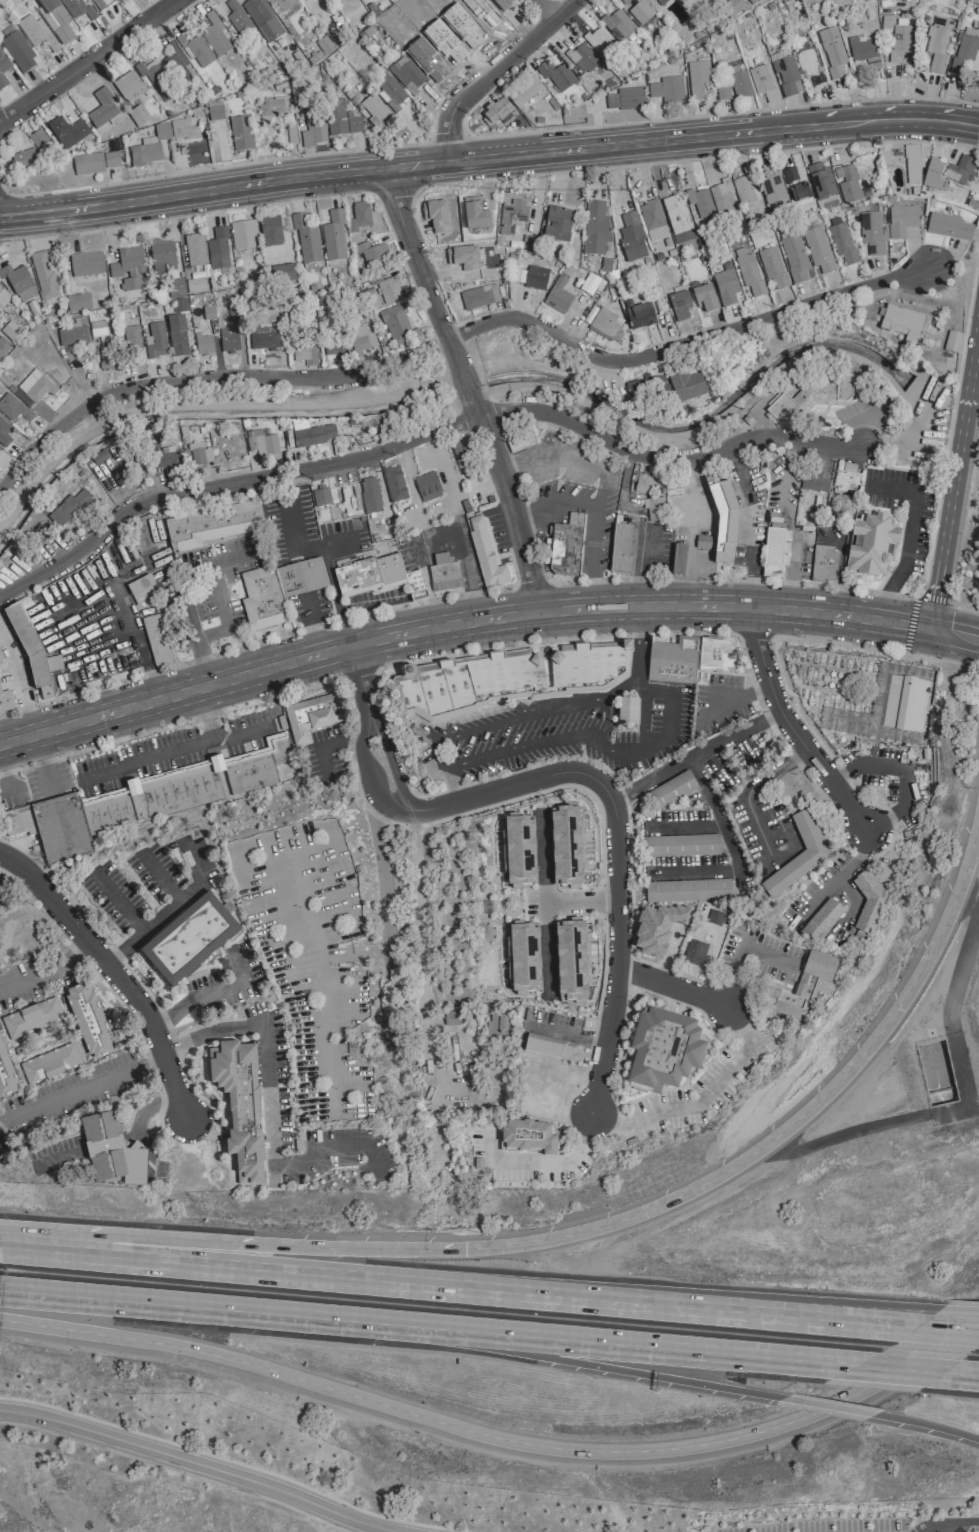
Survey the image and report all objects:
building: (752, 1)
building: (661, 2)
building: (97, 4)
building: (502, 4)
building: (283, 8)
building: (78, 9)
road: (544, 9)
building: (636, 10)
building: (237, 18)
building: (262, 19)
building: (55, 20)
building: (618, 23)
building: (886, 24)
building: (35, 32)
building: (214, 35)
building: (899, 39)
building: (600, 42)
building: (937, 42)
building: (861, 48)
building: (195, 50)
building: (964, 51)
building: (18, 52)
building: (832, 52)
building: (582, 58)
road: (85, 59)
building: (175, 63)
building: (806, 63)
building: (872, 64)
building: (3, 70)
road: (490, 70)
building: (785, 73)
building: (406, 75)
building: (556, 75)
building: (697, 78)
building: (155, 79)
building: (739, 82)
building: (762, 82)
building: (128, 86)
building: (667, 89)
building: (523, 90)
building: (389, 92)
building: (722, 93)
building: (625, 99)
building: (270, 107)
building: (373, 107)
building: (103, 110)
building: (214, 111)
building: (497, 112)
building: (340, 119)
road: (869, 119)
building: (309, 124)
building: (182, 129)
building: (67, 132)
building: (240, 133)
building: (37, 138)
building: (148, 147)
building: (23, 158)
building: (95, 162)
building: (912, 164)
road: (379, 167)
building: (960, 171)
building: (934, 175)
building: (821, 181)
building: (846, 183)
building: (795, 185)
building: (745, 189)
building: (772, 189)
building: (722, 199)
building: (700, 202)
building: (474, 214)
building: (651, 215)
building: (435, 216)
building: (676, 216)
building: (359, 217)
building: (512, 217)
building: (901, 221)
building: (557, 224)
building: (948, 226)
building: (595, 228)
building: (270, 231)
building: (872, 233)
building: (242, 234)
building: (333, 236)
building: (631, 237)
building: (305, 238)
building: (841, 241)
building: (195, 249)
building: (817, 249)
building: (217, 250)
building: (161, 252)
building: (370, 254)
building: (463, 256)
building: (794, 258)
building: (128, 268)
building: (772, 269)
building: (281, 274)
building: (43, 275)
building: (749, 275)
building: (535, 278)
building: (18, 283)
building: (589, 284)
building: (725, 286)
building: (175, 288)
building: (382, 293)
building: (558, 295)
building: (3, 297)
building: (479, 297)
building: (704, 298)
building: (79, 302)
building: (679, 305)
building: (208, 312)
building: (639, 316)
building: (904, 323)
building: (395, 325)
building: (97, 329)
road: (452, 334)
building: (72, 335)
building: (177, 335)
building: (362, 335)
building: (130, 336)
building: (264, 338)
building: (155, 341)
building: (227, 342)
building: (952, 342)
building: (203, 344)
building: (333, 351)
building: (304, 353)
building: (106, 359)
building: (36, 386)
building: (686, 386)
building: (645, 387)
road: (467, 394)
building: (811, 397)
building: (21, 398)
building: (13, 408)
road: (951, 418)
building: (4, 434)
building: (312, 434)
road: (420, 434)
building: (520, 441)
building: (262, 445)
building: (199, 454)
building: (461, 454)
building: (168, 459)
road: (953, 468)
building: (845, 476)
road: (605, 480)
building: (814, 482)
building: (644, 483)
building: (394, 484)
building: (427, 487)
building: (320, 497)
road: (962, 499)
road: (554, 501)
building: (69, 507)
building: (653, 509)
building: (723, 521)
building: (213, 525)
building: (871, 545)
building: (620, 547)
building: (564, 550)
building: (775, 551)
building: (485, 553)
building: (823, 563)
building: (444, 573)
building: (369, 574)
road: (642, 578)
road: (529, 584)
building: (143, 588)
road: (931, 597)
building: (262, 599)
road: (961, 608)
road: (459, 613)
road: (223, 617)
road: (909, 623)
building: (152, 624)
traffic signals: (928, 627)
road: (953, 632)
road: (753, 634)
road: (458, 635)
road: (786, 638)
road: (551, 639)
road: (253, 642)
building: (27, 644)
road: (638, 651)
building: (1, 658)
building: (670, 660)
building: (53, 663)
road: (202, 664)
road: (266, 668)
road: (357, 672)
building: (505, 679)
road: (662, 692)
building: (5, 700)
road: (736, 701)
road: (244, 703)
building: (904, 704)
road: (27, 710)
building: (626, 711)
building: (312, 716)
road: (794, 733)
road: (694, 754)
road: (901, 767)
road: (4, 779)
road: (449, 785)
building: (191, 787)
building: (671, 789)
road: (390, 791)
road: (749, 793)
road: (718, 818)
building: (18, 821)
road: (685, 822)
building: (61, 828)
road: (614, 835)
building: (566, 846)
building: (680, 846)
building: (518, 851)
building: (798, 855)
road: (693, 872)
road: (840, 874)
building: (687, 891)
road: (417, 895)
road: (580, 903)
building: (869, 903)
road: (544, 905)
road: (168, 910)
building: (714, 918)
building: (820, 921)
building: (657, 928)
building: (188, 939)
road: (104, 941)
building: (697, 953)
building: (522, 956)
building: (571, 961)
road: (45, 967)
road: (112, 970)
building: (804, 987)
road: (675, 989)
building: (31, 1017)
building: (450, 1018)
building: (88, 1021)
building: (498, 1027)
road: (238, 1031)
building: (550, 1046)
building: (663, 1049)
building: (50, 1063)
building: (5, 1076)
road: (82, 1087)
road: (702, 1102)
building: (239, 1105)
building: (528, 1137)
building: (111, 1151)
road: (297, 1166)
road: (596, 1226)
road: (403, 1280)
road: (194, 1305)
road: (959, 1309)
road: (873, 1313)
road: (859, 1322)
road: (946, 1330)
road: (619, 1344)
road: (584, 1364)
road: (895, 1370)
road: (960, 1375)
road: (827, 1405)
road: (926, 1423)
road: (501, 1438)
road: (231, 1461)
road: (198, 1464)
road: (933, 1522)
road: (967, 1522)
parking lot: (826, 1526)
road: (955, 1527)
parking lot: (953, 1530)

